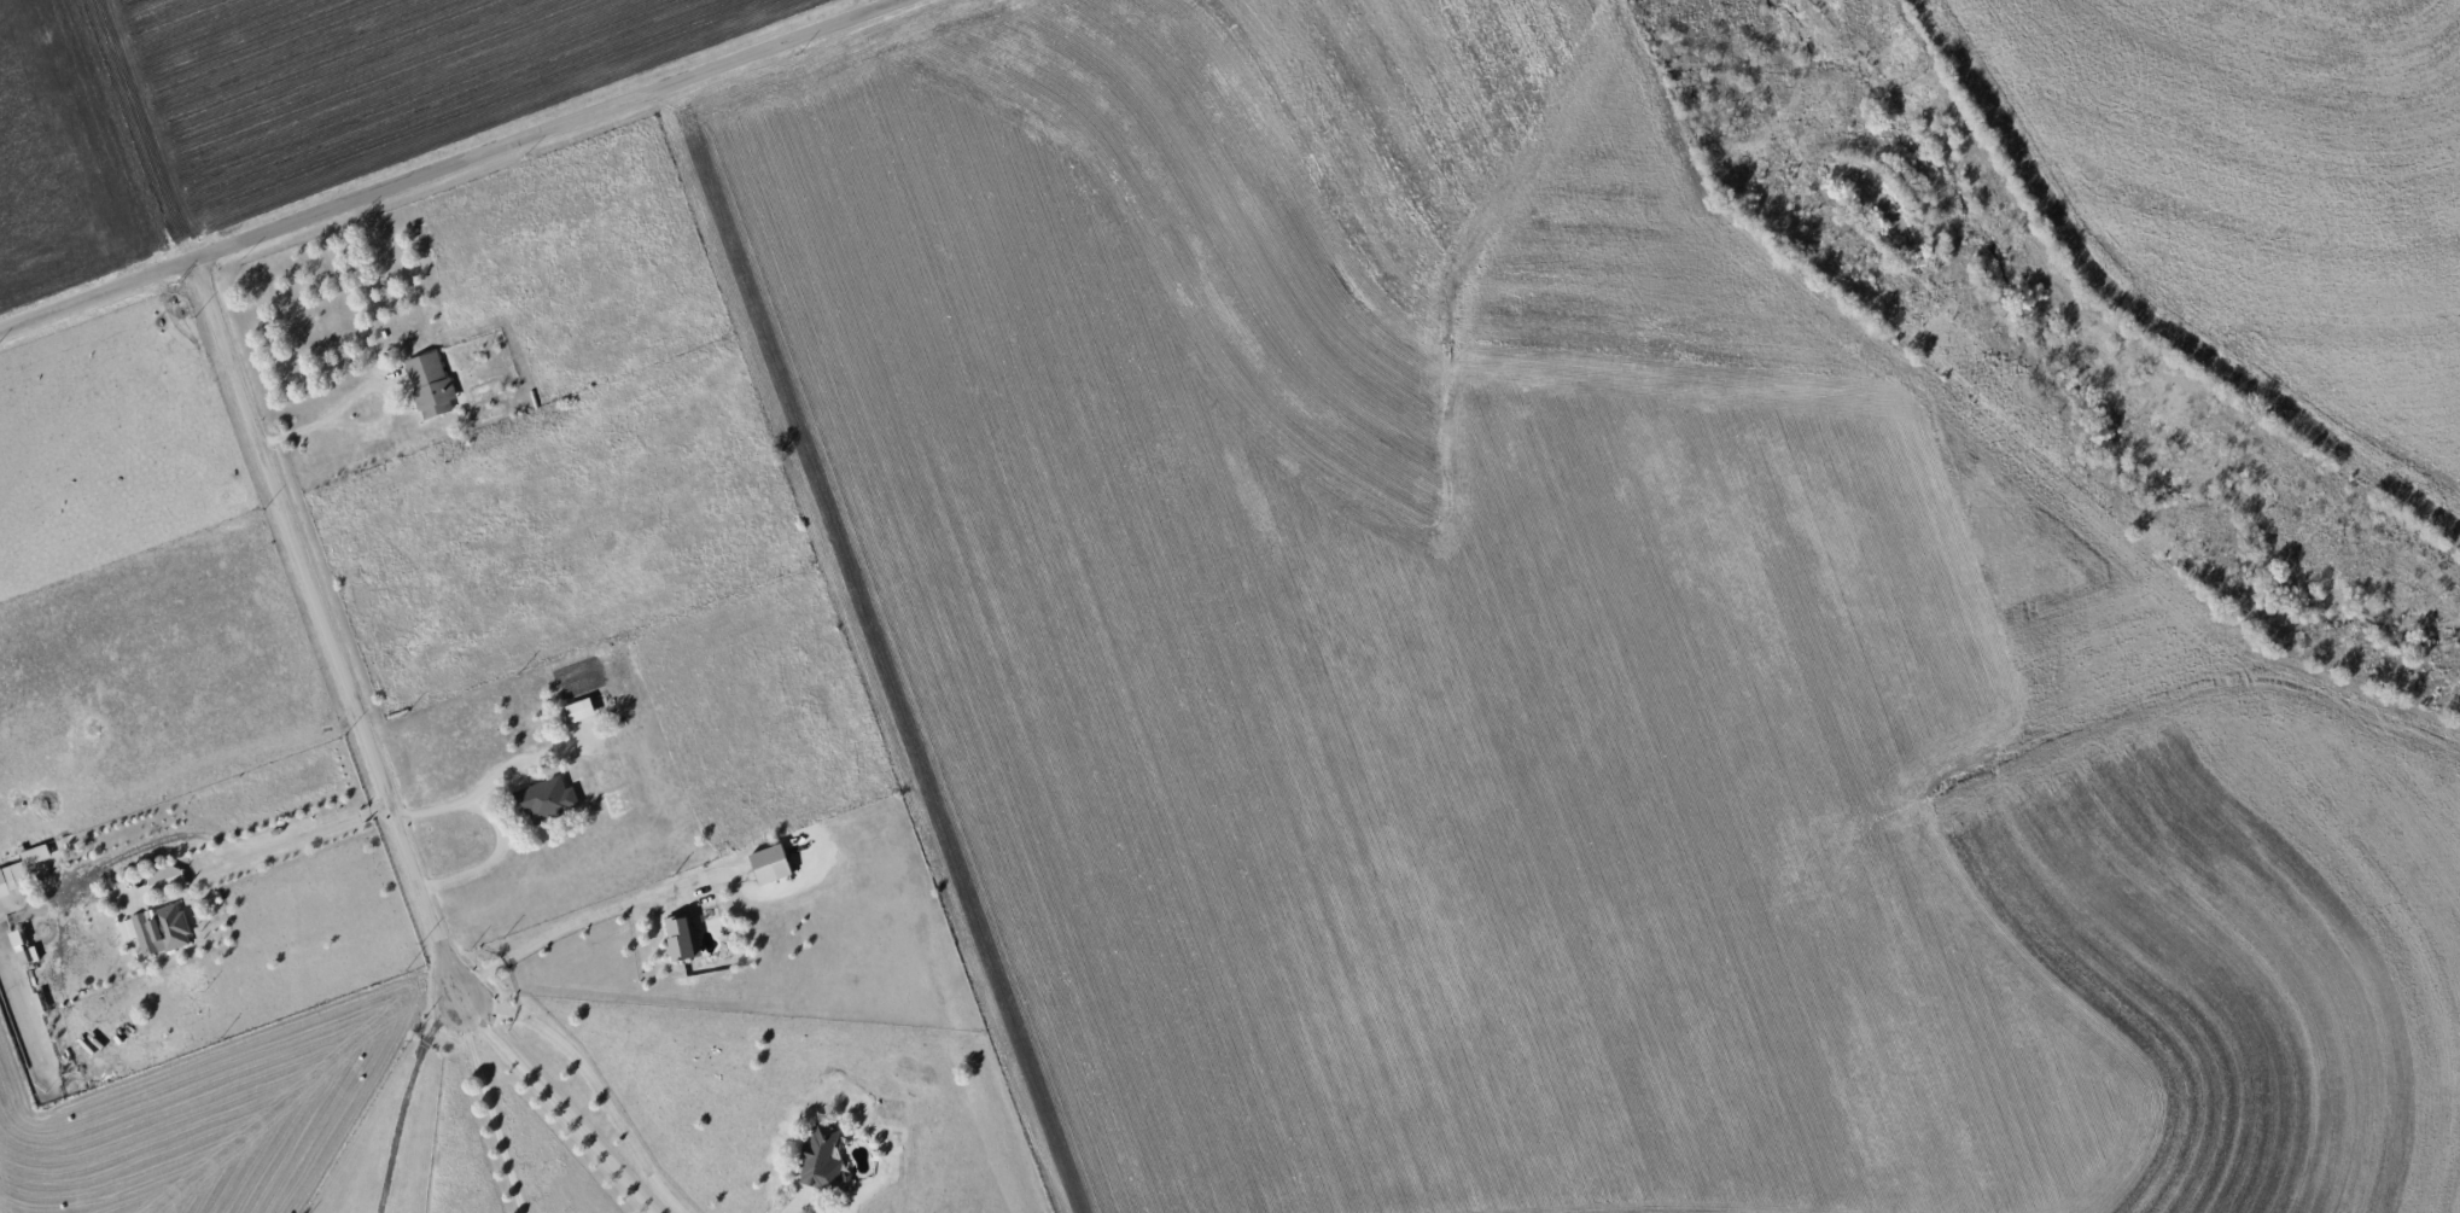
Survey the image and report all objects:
road: (451, 164)
building: (431, 384)
road: (351, 391)
road: (322, 624)
building: (581, 710)
building: (548, 799)
road: (491, 827)
road: (228, 845)
building: (36, 855)
building: (771, 864)
building: (165, 879)
building: (14, 891)
road: (585, 915)
building: (157, 929)
building: (681, 938)
road: (601, 1075)
road: (407, 1092)
road: (562, 1098)
road: (494, 1100)
building: (822, 1160)

